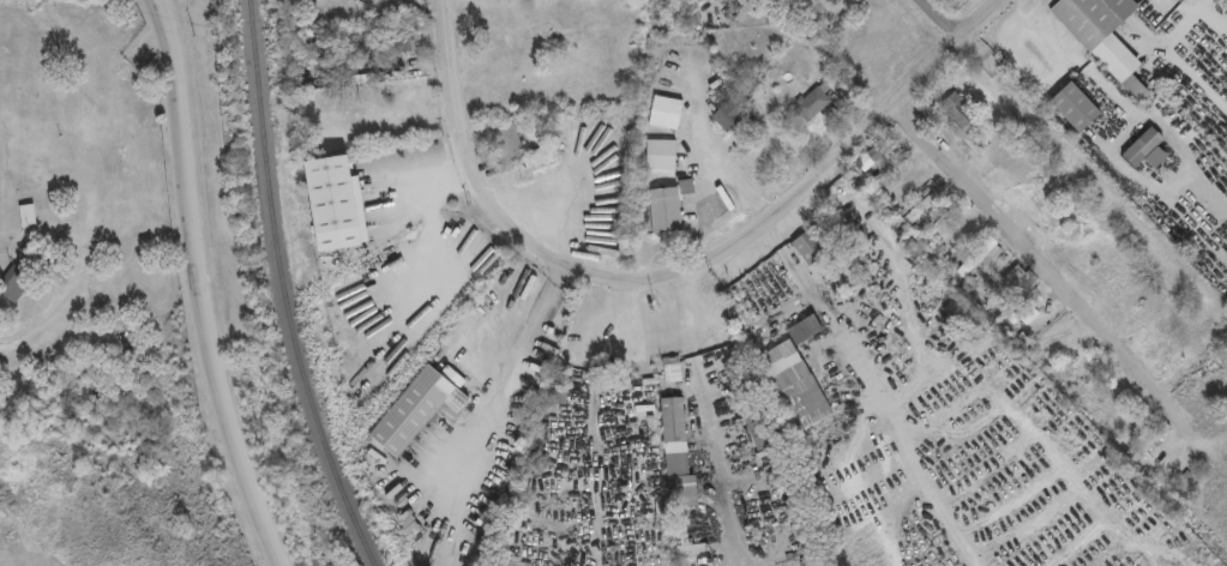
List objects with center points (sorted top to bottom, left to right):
building: (395, 0)
road: (1033, 2)
road: (1185, 11)
road: (939, 19)
road: (1211, 28)
building: (1105, 37)
building: (401, 43)
road: (1070, 56)
road: (1193, 65)
building: (813, 102)
building: (1073, 106)
building: (666, 112)
building: (728, 114)
building: (961, 115)
road: (1183, 138)
building: (510, 144)
building: (1145, 149)
building: (661, 152)
road: (715, 152)
building: (541, 153)
building: (873, 155)
road: (834, 158)
road: (437, 171)
road: (1155, 182)
road: (477, 192)
building: (333, 203)
building: (921, 206)
building: (664, 209)
building: (28, 215)
building: (807, 247)
building: (980, 255)
road: (1041, 270)
building: (1014, 281)
building: (14, 282)
road: (197, 288)
railway: (282, 289)
road: (816, 302)
building: (672, 367)
building: (736, 372)
road: (509, 374)
building: (794, 377)
road: (702, 404)
building: (419, 407)
road: (1037, 424)
building: (754, 427)
building: (1150, 440)
building: (678, 451)
road: (981, 453)
road: (859, 474)
road: (922, 474)
road: (752, 550)
road: (729, 552)
road: (1138, 562)

